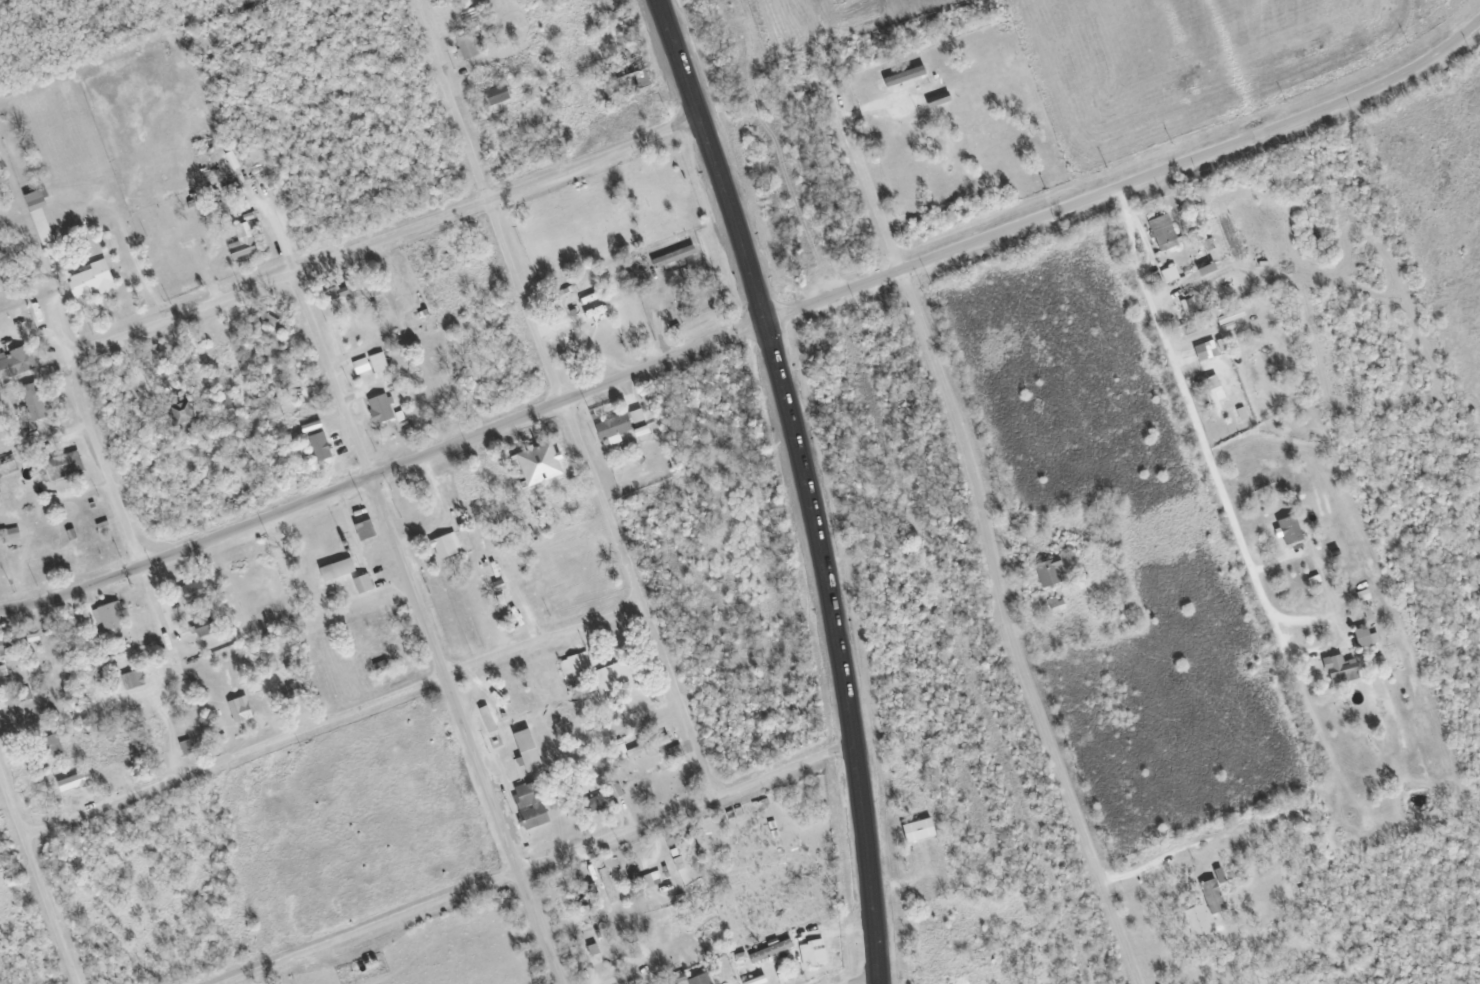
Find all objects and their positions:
building: (466, 45)
building: (640, 72)
building: (919, 73)
building: (496, 94)
building: (937, 99)
road: (1127, 180)
road: (483, 199)
building: (38, 215)
building: (1162, 232)
building: (241, 242)
building: (674, 253)
building: (1168, 274)
building: (89, 279)
building: (343, 289)
road: (238, 291)
building: (585, 313)
building: (272, 321)
building: (1204, 350)
building: (20, 360)
building: (377, 362)
road: (328, 373)
building: (1210, 389)
building: (32, 401)
building: (225, 403)
building: (379, 408)
building: (182, 413)
building: (635, 415)
road: (1193, 418)
building: (612, 426)
building: (536, 463)
building: (63, 464)
road: (381, 468)
road: (811, 481)
building: (8, 533)
building: (445, 544)
road: (985, 544)
building: (336, 568)
building: (1049, 571)
building: (362, 583)
building: (190, 591)
road: (634, 595)
building: (110, 613)
building: (205, 625)
building: (1362, 635)
building: (8, 646)
building: (573, 662)
building: (1341, 669)
building: (611, 676)
building: (131, 678)
building: (291, 690)
building: (519, 701)
building: (240, 709)
road: (327, 717)
building: (485, 718)
building: (157, 729)
road: (464, 729)
building: (49, 745)
building: (526, 749)
building: (73, 780)
building: (528, 803)
building: (595, 803)
road: (536, 861)
building: (1, 863)
building: (649, 878)
road: (36, 884)
building: (606, 885)
building: (1195, 921)
building: (809, 953)
road: (865, 979)
building: (962, 979)
building: (700, 980)

